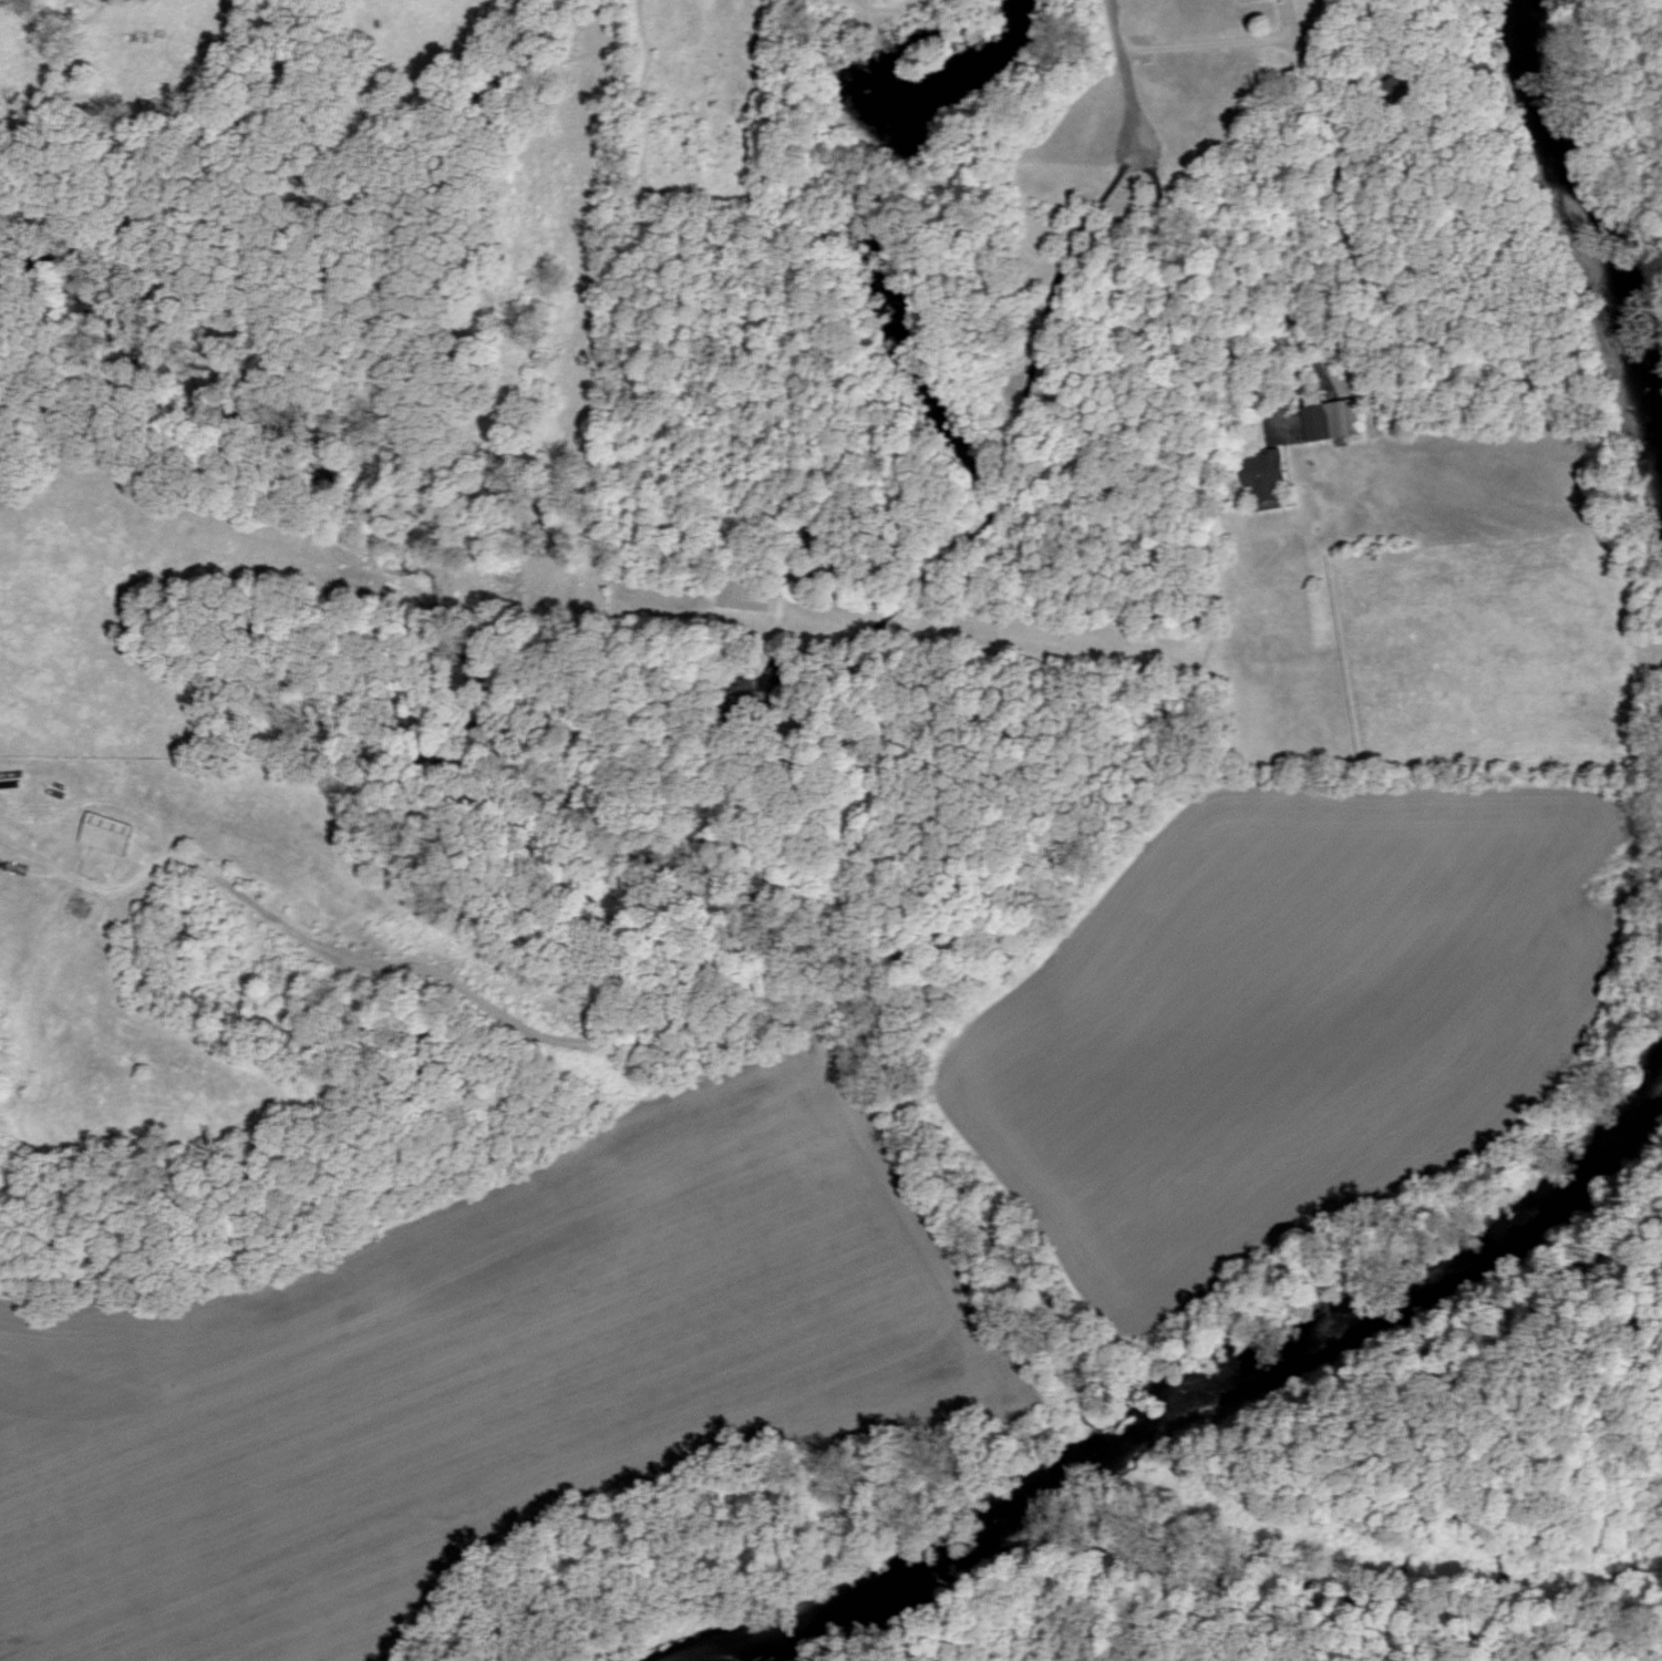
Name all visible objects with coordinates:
road: (1201, 44)
road: (1123, 72)
river: (1591, 252)
road: (1177, 305)
building: (1328, 420)
road: (1010, 441)
building: (1261, 472)
building: (107, 833)
river: (1201, 1403)

